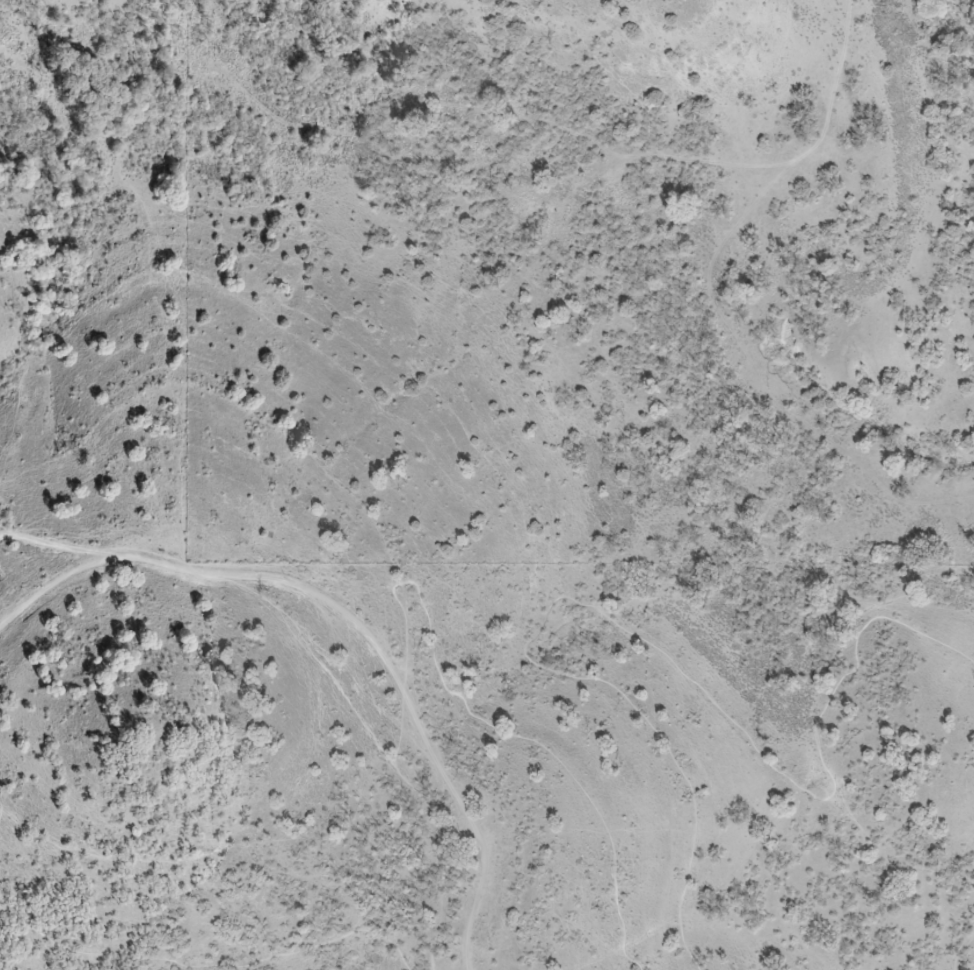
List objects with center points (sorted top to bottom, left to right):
road: (639, 638)
road: (393, 678)
road: (494, 729)
road: (440, 824)
road: (961, 948)
road: (207, 966)

